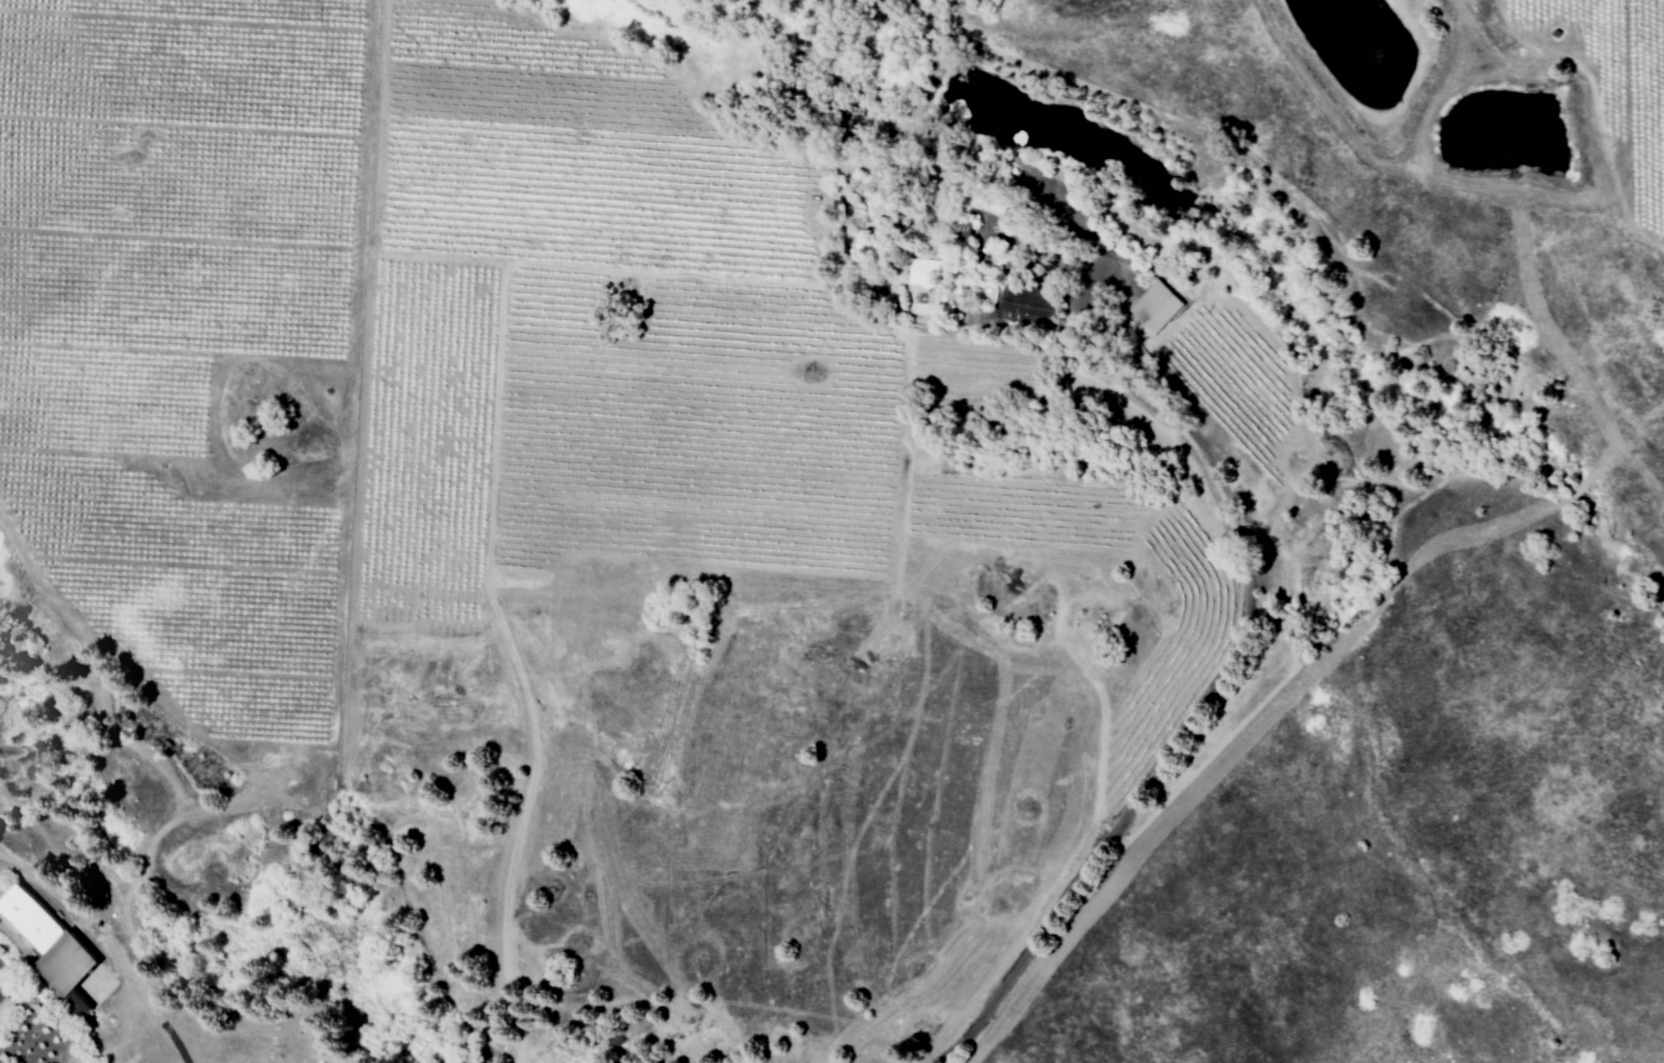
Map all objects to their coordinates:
building: (964, 228)
building: (924, 286)
building: (1028, 305)
building: (1157, 306)
road: (1215, 680)
road: (110, 941)
building: (51, 948)

